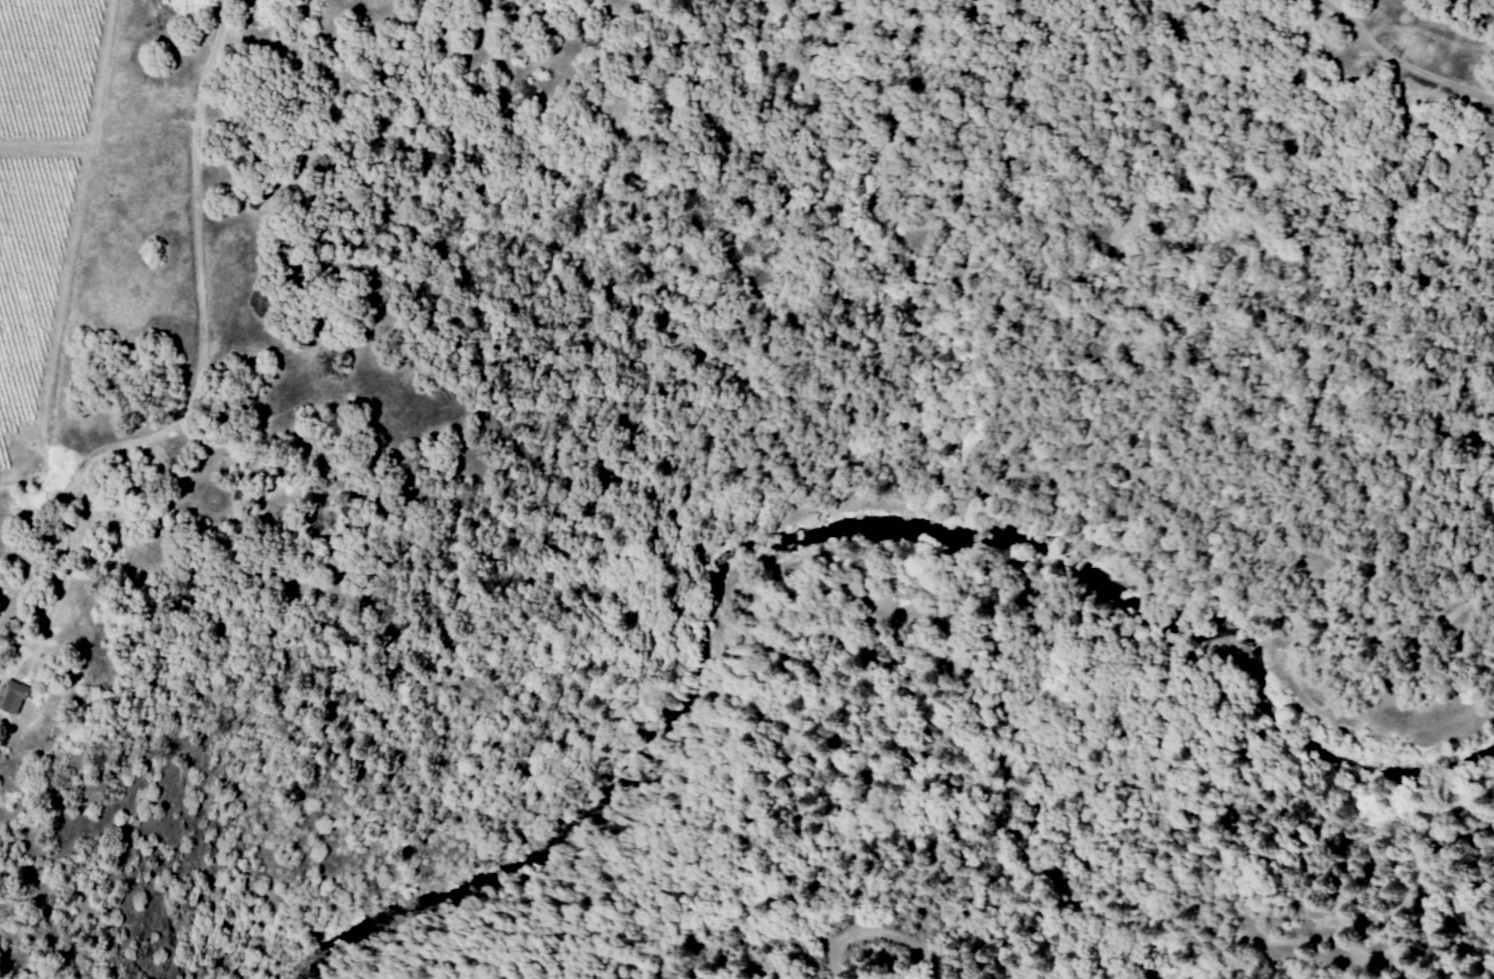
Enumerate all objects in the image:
road: (1398, 63)
crop: (36, 176)
road: (197, 372)
river: (853, 550)
building: (13, 696)

